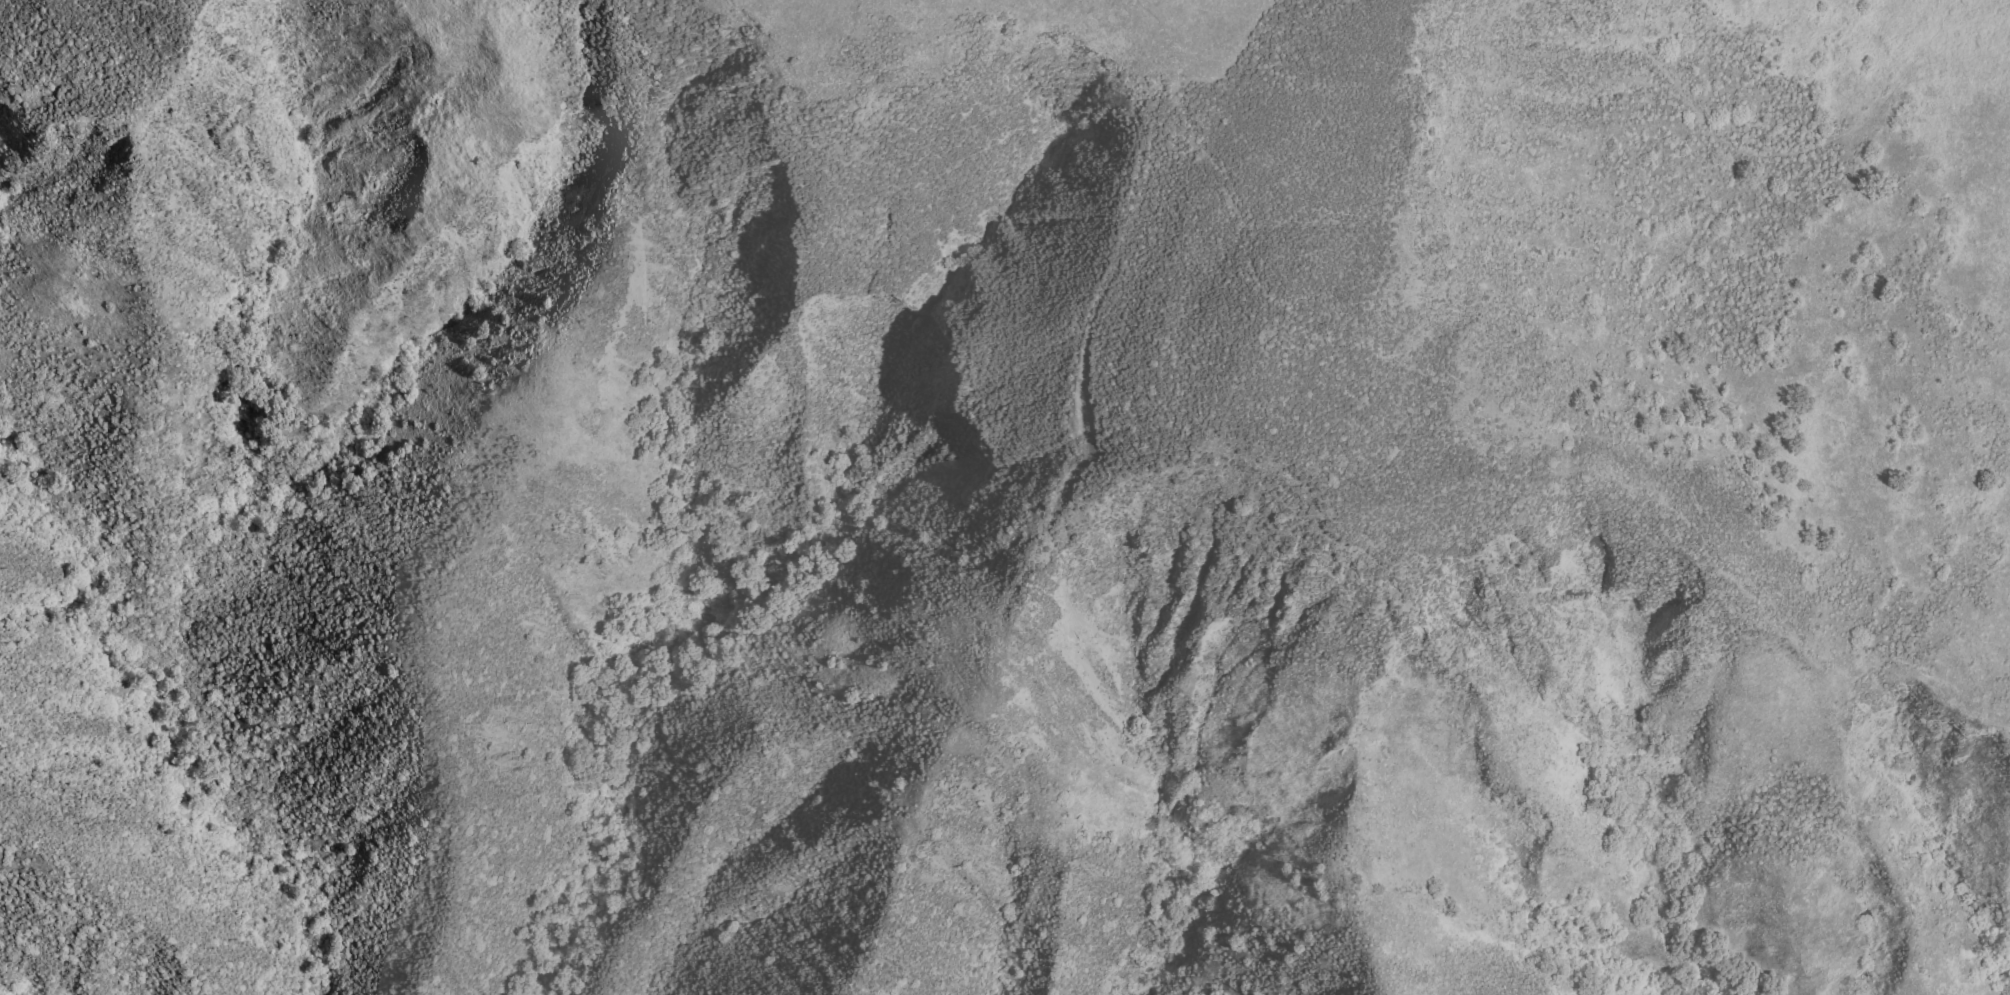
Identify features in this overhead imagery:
road: (1808, 149)

